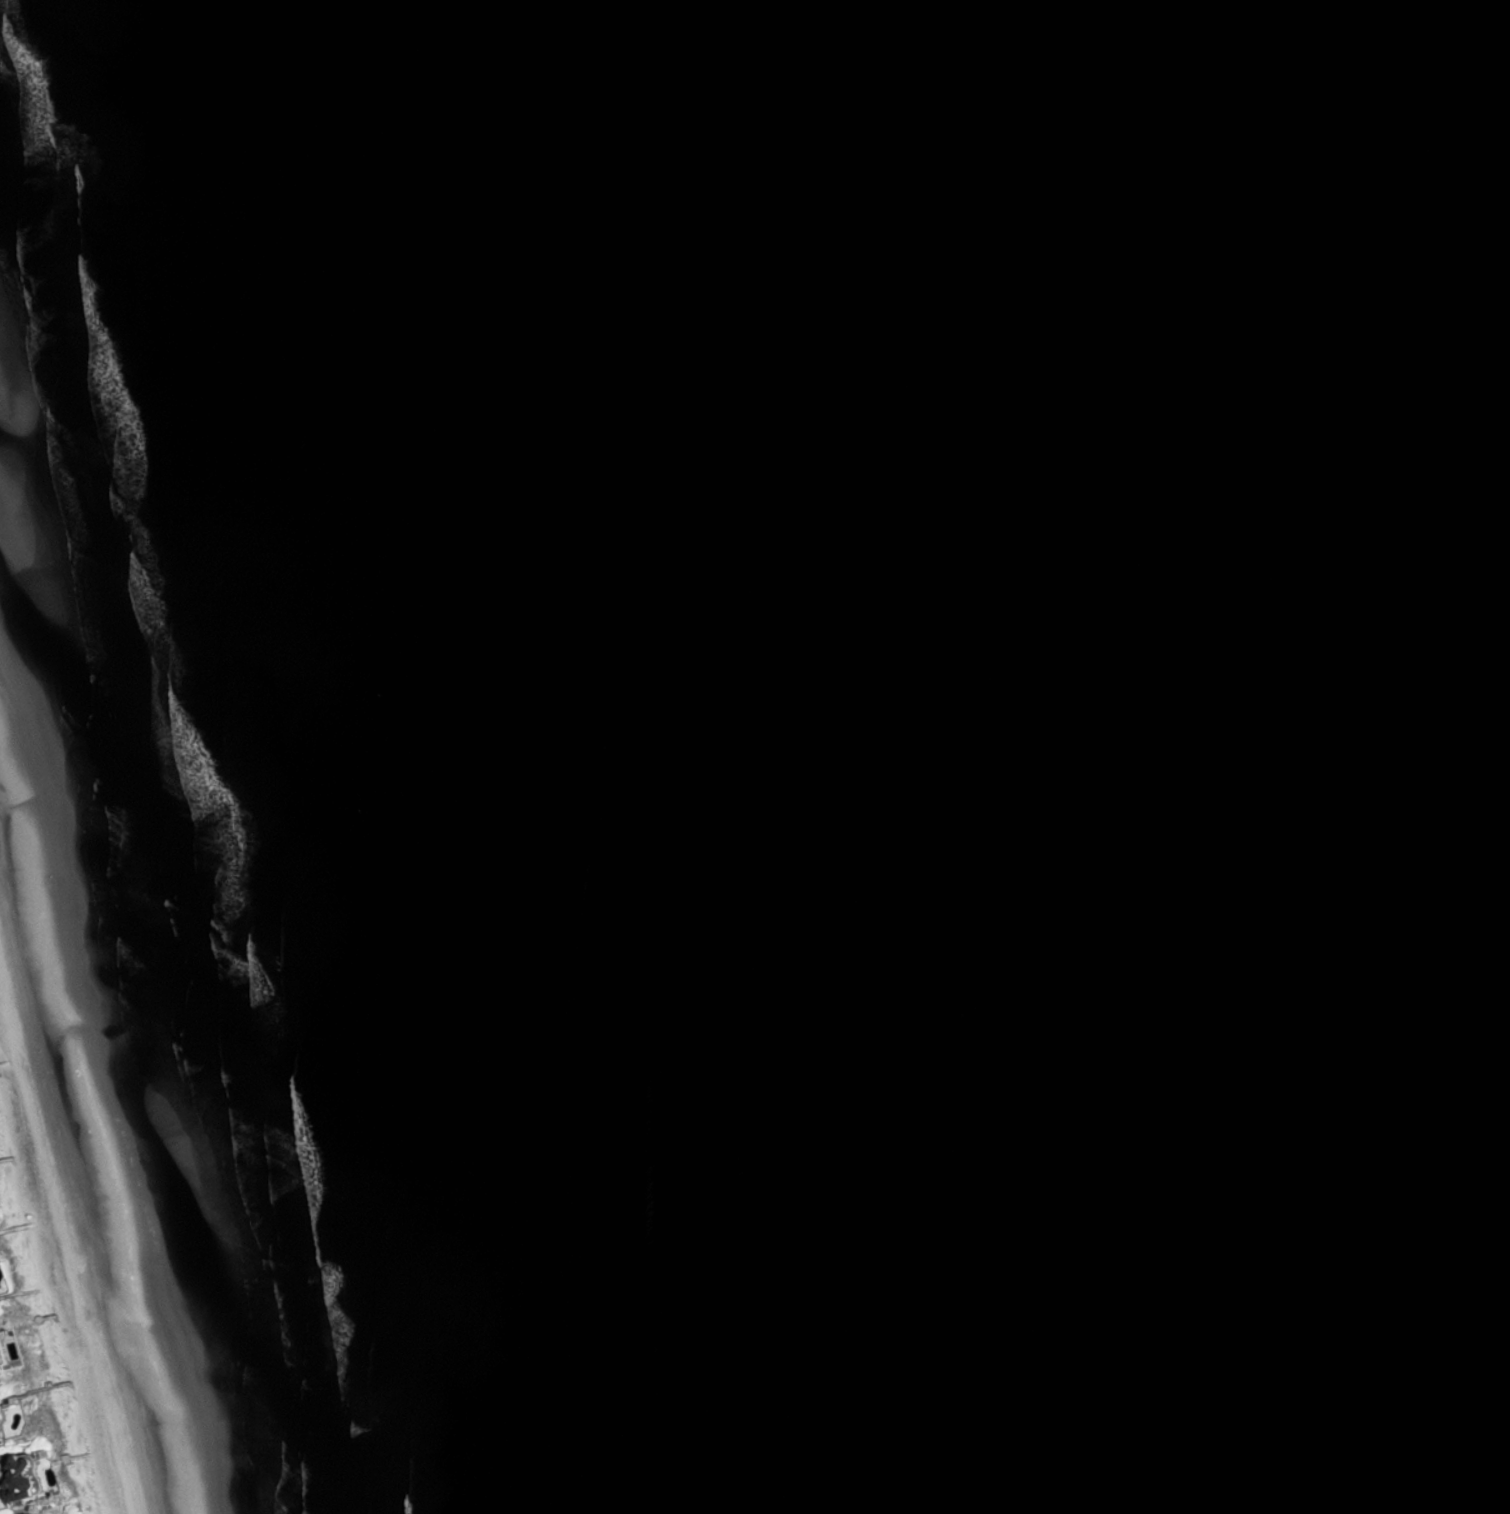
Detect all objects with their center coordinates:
road: (17, 1229)
building: (0, 1299)
building: (7, 1351)
building: (4, 1419)
building: (30, 1479)

